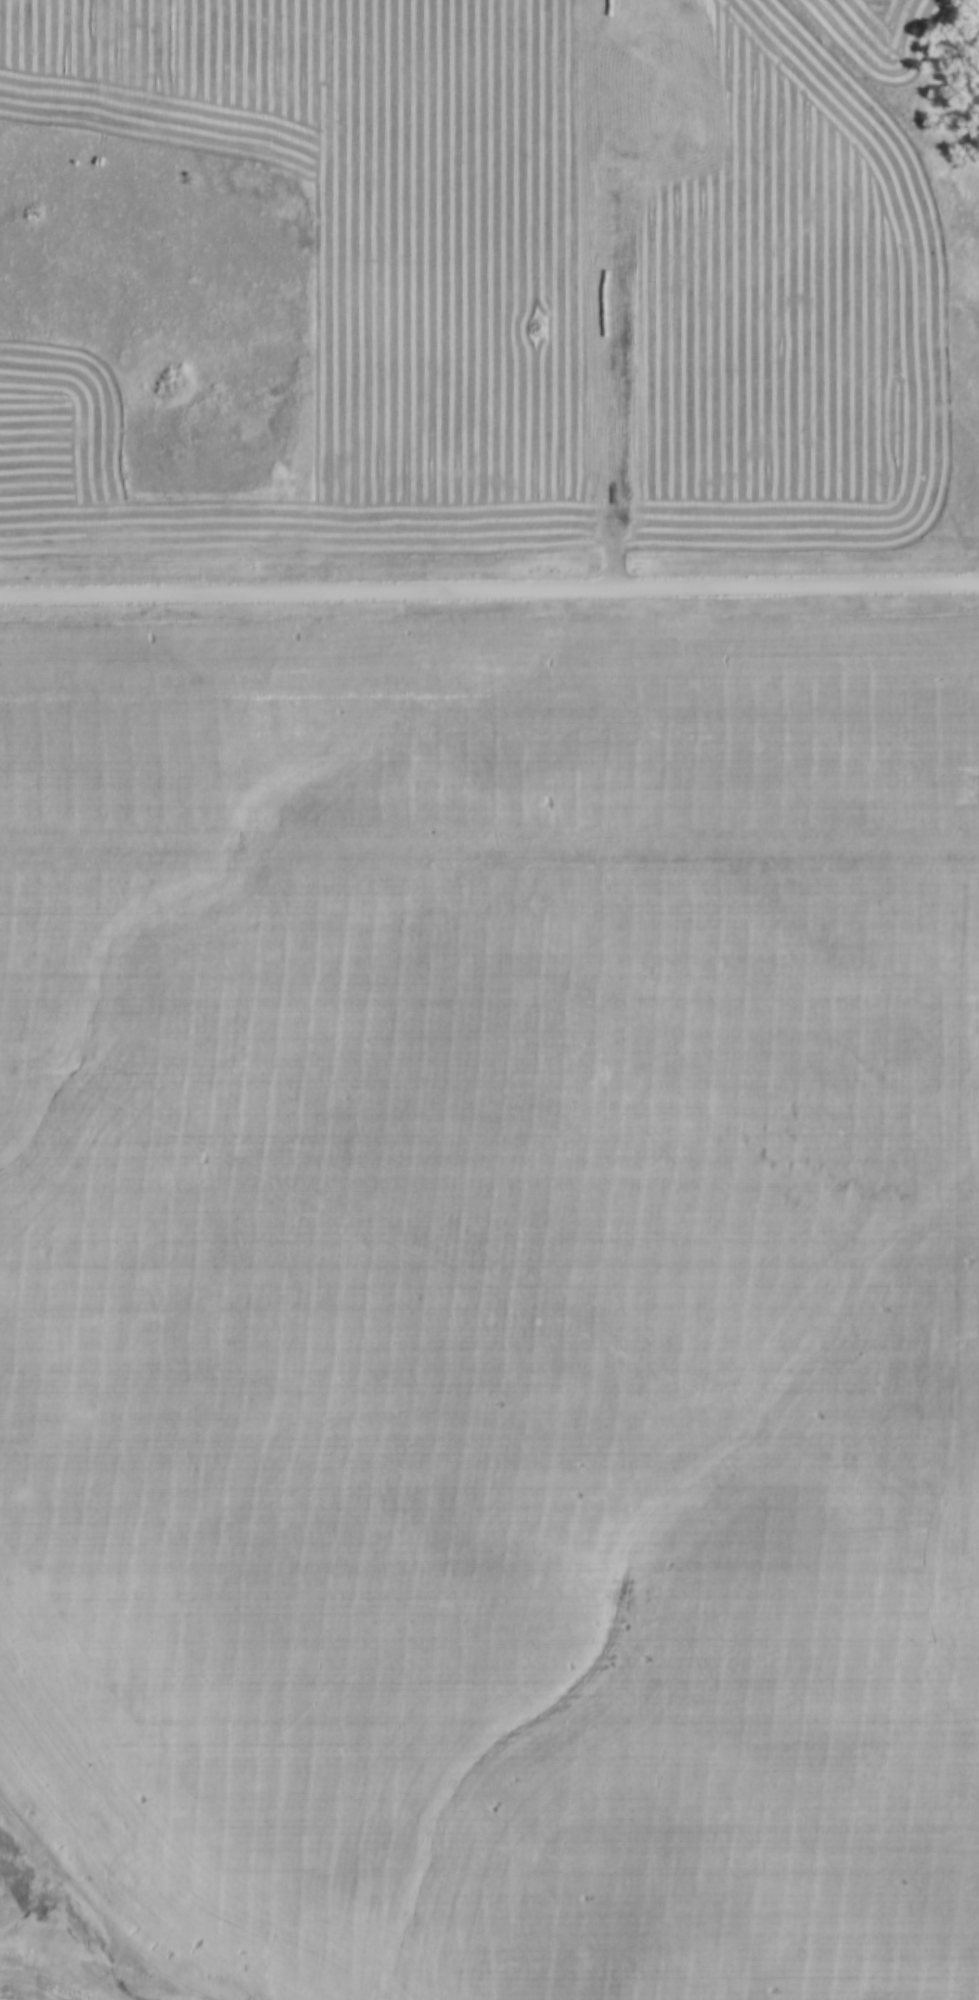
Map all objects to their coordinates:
road: (489, 593)

